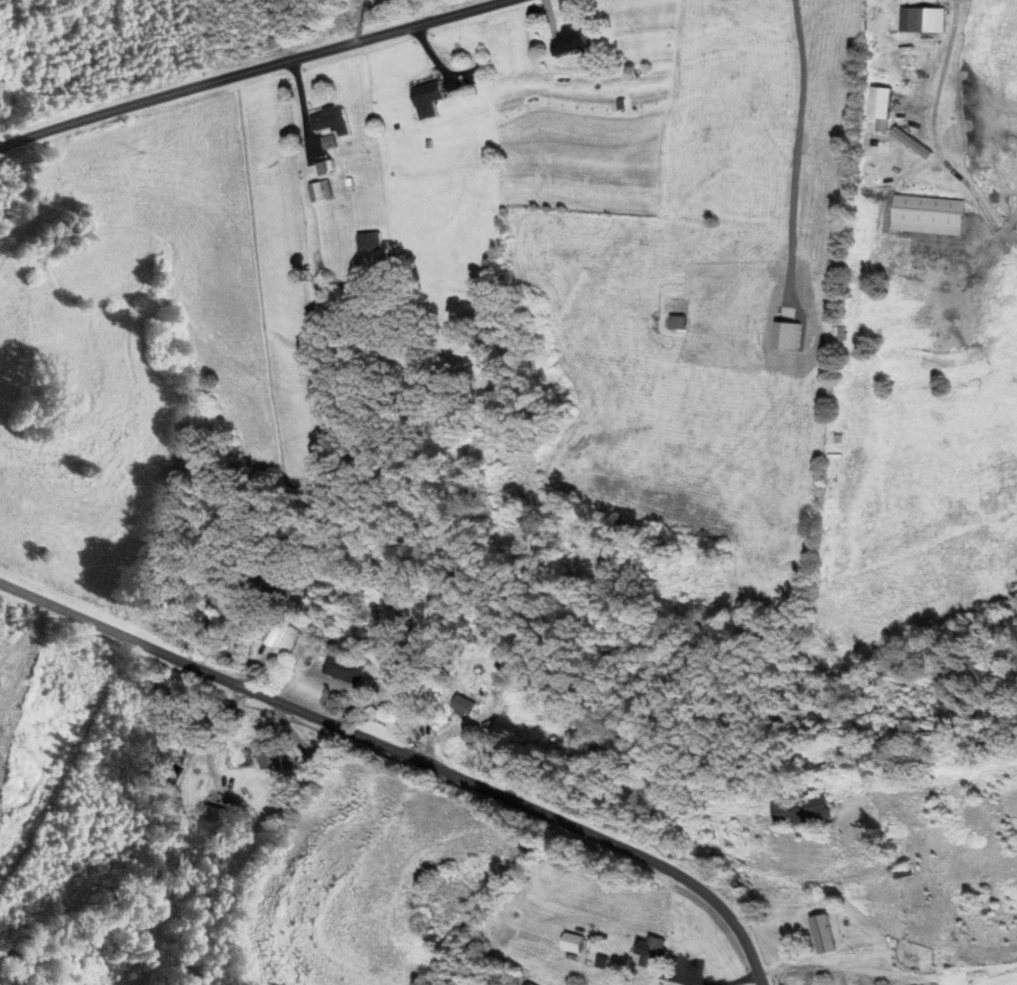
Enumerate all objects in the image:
building: (924, 17)
building: (570, 40)
road: (259, 65)
building: (429, 97)
building: (881, 100)
building: (330, 119)
road: (933, 135)
building: (327, 139)
building: (876, 164)
building: (322, 166)
building: (320, 190)
building: (929, 213)
building: (369, 240)
building: (678, 320)
building: (380, 580)
building: (277, 627)
building: (344, 668)
building: (461, 705)
building: (269, 754)
road: (406, 754)
building: (800, 809)
building: (214, 816)
building: (739, 881)
building: (824, 932)
building: (574, 941)
building: (656, 951)
building: (530, 983)

